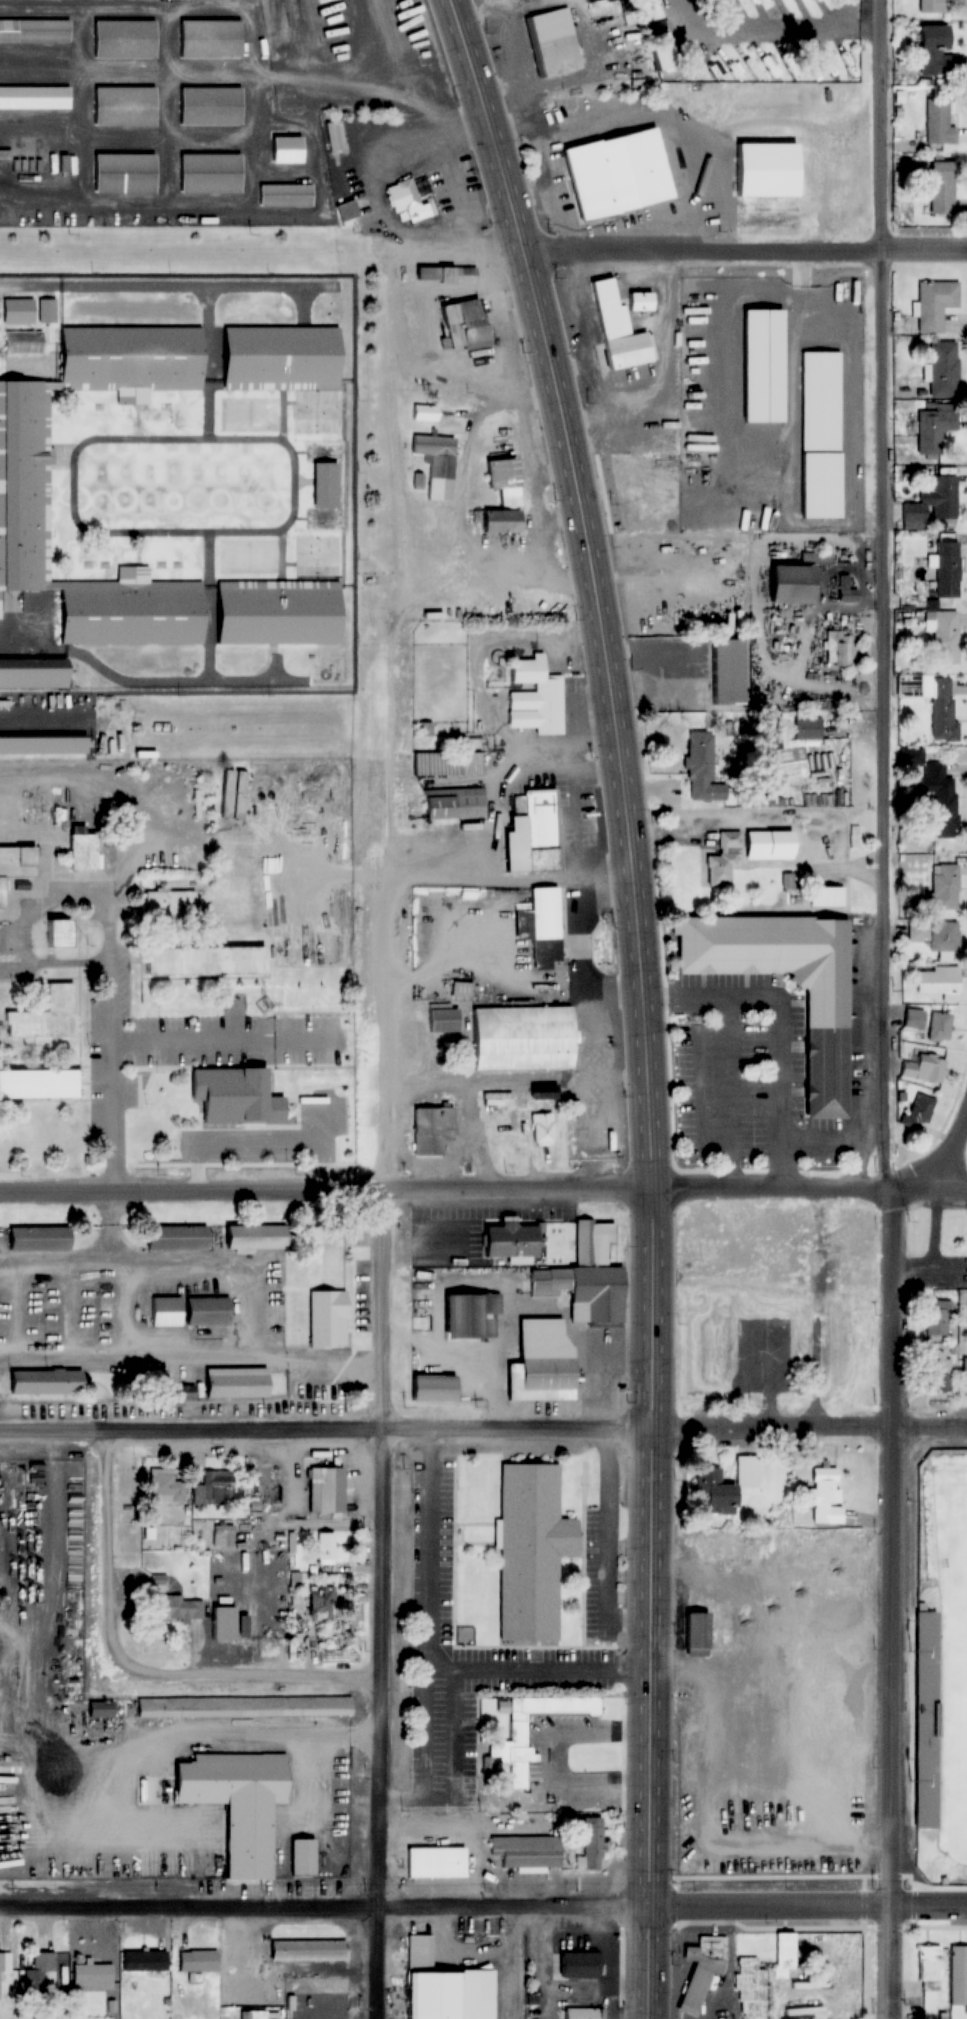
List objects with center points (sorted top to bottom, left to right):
building: (933, 6)
building: (34, 31)
building: (123, 39)
building: (208, 39)
building: (553, 41)
building: (931, 49)
building: (34, 99)
building: (123, 107)
building: (209, 107)
building: (938, 123)
building: (284, 151)
building: (123, 174)
building: (208, 174)
building: (615, 174)
building: (941, 188)
building: (284, 196)
building: (411, 202)
road: (676, 249)
building: (441, 277)
building: (934, 304)
building: (27, 312)
building: (462, 324)
building: (619, 325)
building: (421, 339)
building: (24, 342)
building: (279, 359)
building: (760, 366)
building: (943, 369)
building: (423, 413)
building: (932, 429)
building: (819, 435)
building: (437, 464)
building: (502, 481)
building: (324, 485)
building: (24, 486)
building: (933, 501)
building: (499, 522)
building: (947, 570)
building: (786, 586)
building: (846, 591)
building: (276, 613)
building: (943, 636)
building: (837, 649)
building: (726, 674)
building: (32, 675)
building: (534, 699)
building: (933, 702)
building: (806, 728)
building: (41, 746)
building: (447, 764)
building: (702, 767)
building: (935, 793)
building: (452, 804)
building: (530, 834)
building: (80, 852)
building: (726, 858)
building: (17, 865)
building: (945, 887)
building: (170, 904)
building: (57, 934)
building: (545, 938)
building: (937, 939)
building: (202, 961)
building: (938, 982)
building: (788, 984)
building: (460, 989)
road: (106, 994)
road: (646, 998)
road: (892, 1009)
building: (44, 1016)
building: (443, 1019)
building: (914, 1019)
building: (183, 1022)
building: (939, 1027)
road: (221, 1036)
building: (520, 1038)
building: (925, 1069)
building: (36, 1085)
building: (157, 1097)
building: (245, 1102)
building: (430, 1130)
building: (543, 1131)
road: (383, 1132)
road: (936, 1162)
road: (483, 1195)
building: (260, 1237)
building: (180, 1238)
building: (41, 1239)
building: (509, 1240)
building: (585, 1280)
building: (310, 1299)
building: (210, 1310)
building: (167, 1311)
building: (473, 1315)
building: (937, 1319)
building: (540, 1363)
building: (938, 1371)
building: (965, 1372)
building: (45, 1382)
building: (238, 1382)
building: (435, 1387)
road: (483, 1432)
building: (164, 1486)
building: (724, 1486)
building: (215, 1487)
building: (328, 1490)
building: (825, 1496)
building: (224, 1535)
building: (326, 1548)
building: (529, 1551)
road: (105, 1555)
building: (322, 1602)
building: (180, 1608)
building: (225, 1623)
building: (697, 1633)
road: (258, 1673)
building: (244, 1707)
building: (102, 1709)
park: (961, 1726)
building: (926, 1728)
building: (514, 1729)
building: (241, 1803)
building: (592, 1843)
building: (527, 1854)
building: (304, 1857)
building: (435, 1862)
road: (483, 1900)
building: (310, 1949)
road: (513, 1959)
building: (199, 1960)
building: (5, 1961)
building: (147, 1961)
building: (927, 1963)
building: (575, 1965)
building: (701, 1971)
building: (42, 1974)
building: (958, 1975)
building: (94, 1976)
building: (440, 1985)
building: (751, 1989)
building: (579, 2013)
building: (259, 2015)

